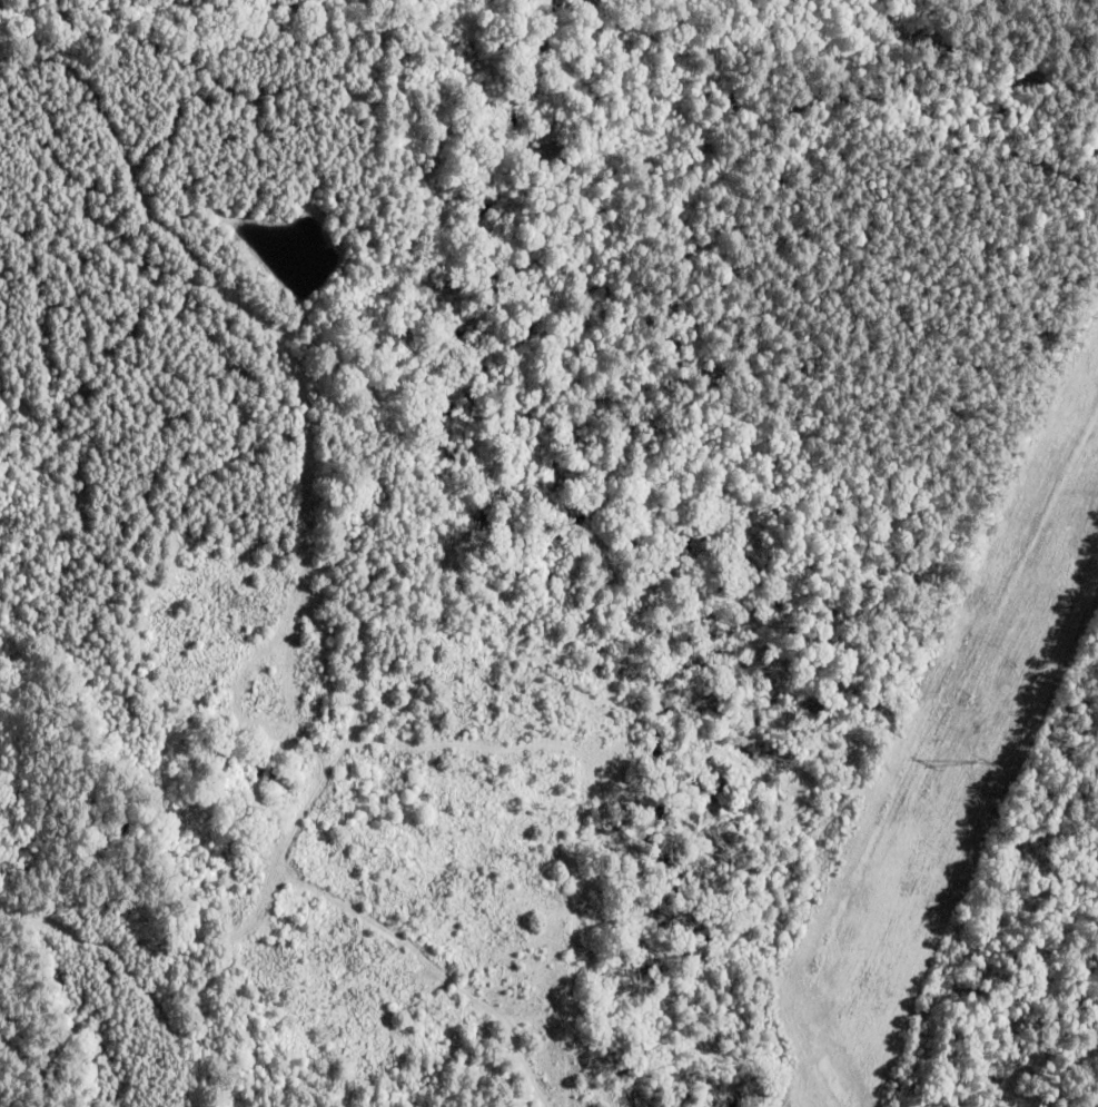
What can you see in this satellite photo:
power tower: (977, 760)

